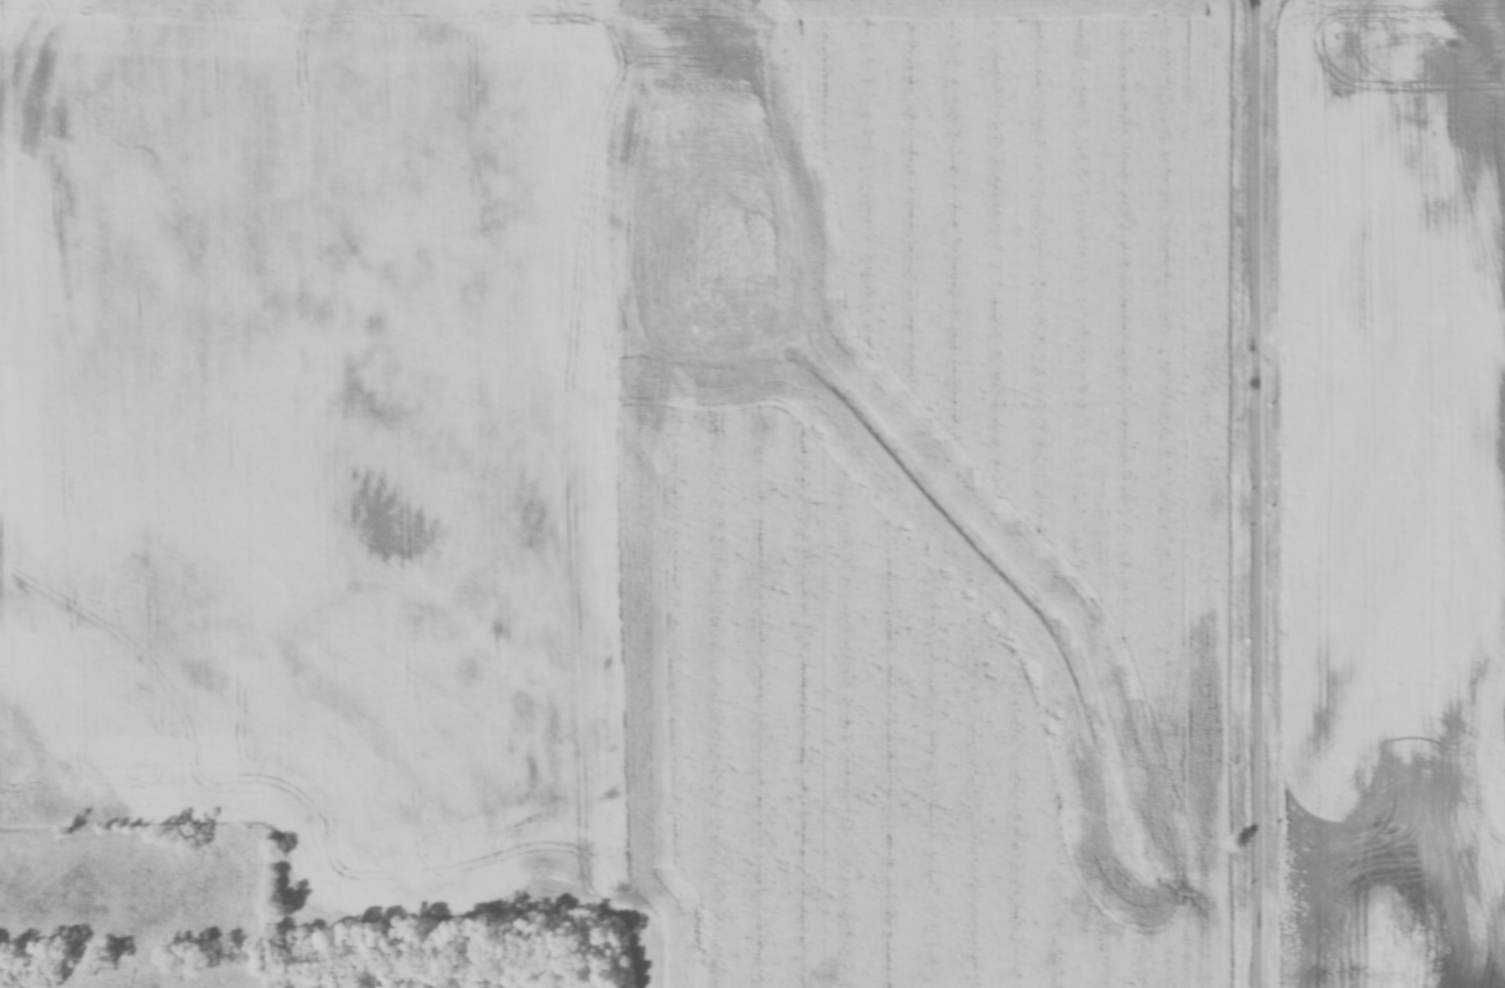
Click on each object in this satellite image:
road: (1260, 493)

